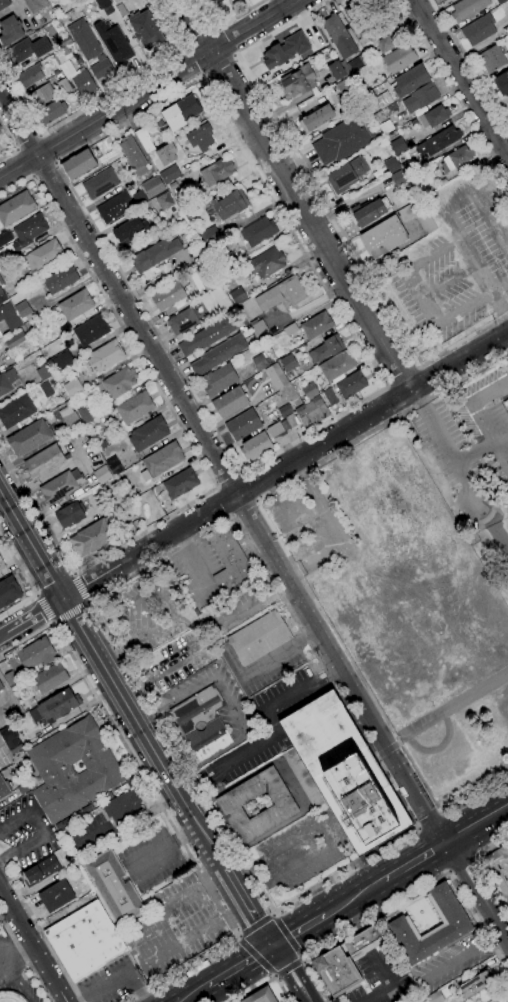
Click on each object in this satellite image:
building: (218, 1)
building: (499, 2)
building: (102, 3)
building: (4, 4)
building: (35, 5)
building: (467, 9)
building: (121, 10)
building: (388, 10)
road: (229, 20)
building: (360, 23)
road: (218, 27)
building: (10, 30)
building: (146, 30)
building: (478, 30)
building: (338, 36)
road: (200, 39)
building: (64, 41)
building: (114, 43)
road: (224, 43)
building: (385, 44)
building: (89, 48)
road: (183, 48)
building: (28, 50)
building: (65, 50)
building: (285, 50)
road: (234, 55)
building: (399, 58)
building: (492, 59)
road: (193, 60)
building: (358, 62)
road: (216, 64)
road: (469, 65)
building: (336, 70)
building: (30, 75)
road: (201, 77)
road: (462, 77)
building: (410, 80)
building: (297, 82)
building: (83, 83)
building: (502, 83)
building: (63, 86)
building: (343, 87)
road: (149, 90)
road: (453, 92)
building: (42, 95)
road: (102, 96)
building: (420, 98)
building: (383, 100)
building: (507, 104)
building: (392, 107)
building: (51, 112)
building: (180, 112)
building: (434, 116)
building: (316, 119)
building: (413, 123)
building: (0, 127)
building: (0, 133)
road: (38, 134)
building: (391, 135)
building: (200, 137)
building: (343, 139)
building: (144, 140)
building: (439, 140)
road: (26, 142)
road: (12, 143)
building: (398, 146)
road: (15, 149)
road: (46, 149)
building: (132, 155)
building: (456, 159)
road: (24, 162)
road: (55, 163)
building: (78, 164)
building: (391, 164)
building: (409, 167)
road: (43, 169)
building: (217, 172)
building: (170, 174)
building: (347, 175)
road: (32, 176)
building: (398, 179)
building: (100, 184)
building: (153, 186)
building: (409, 190)
building: (139, 198)
building: (163, 202)
road: (447, 202)
building: (229, 204)
building: (114, 207)
road: (327, 207)
building: (16, 208)
building: (369, 213)
building: (418, 215)
building: (130, 230)
building: (28, 231)
building: (258, 231)
building: (209, 237)
building: (383, 237)
building: (5, 238)
road: (327, 249)
building: (155, 254)
building: (43, 255)
building: (5, 259)
building: (227, 262)
road: (419, 262)
building: (266, 263)
building: (60, 279)
road: (447, 280)
building: (208, 282)
road: (497, 282)
building: (169, 294)
building: (271, 294)
building: (237, 295)
building: (2, 296)
building: (221, 299)
building: (76, 305)
road: (497, 307)
building: (24, 311)
building: (9, 316)
road: (449, 316)
building: (182, 321)
building: (316, 325)
building: (259, 328)
building: (290, 329)
building: (90, 330)
building: (0, 335)
building: (207, 336)
building: (15, 340)
building: (326, 349)
building: (218, 354)
building: (105, 356)
building: (507, 356)
building: (62, 360)
building: (260, 361)
building: (288, 363)
building: (336, 365)
road: (418, 367)
building: (44, 372)
building: (276, 376)
road: (401, 378)
building: (218, 379)
building: (6, 381)
building: (117, 383)
building: (351, 385)
building: (72, 387)
road: (383, 387)
road: (380, 388)
building: (46, 389)
building: (309, 391)
building: (330, 396)
building: (230, 402)
road: (471, 402)
building: (134, 408)
building: (285, 410)
building: (16, 411)
building: (312, 412)
building: (84, 414)
building: (70, 419)
building: (291, 420)
building: (243, 424)
building: (276, 431)
building: (148, 433)
parking lot: (470, 434)
building: (29, 438)
building: (101, 445)
building: (255, 445)
road: (192, 447)
road: (500, 447)
road: (313, 449)
road: (473, 451)
building: (161, 461)
building: (44, 462)
building: (114, 466)
road: (221, 468)
road: (240, 473)
building: (102, 475)
road: (228, 481)
building: (181, 483)
building: (61, 486)
road: (442, 486)
road: (215, 487)
road: (246, 488)
road: (224, 501)
road: (255, 501)
road: (242, 507)
road: (499, 513)
building: (70, 514)
road: (232, 515)
road: (303, 522)
road: (332, 528)
road: (497, 532)
building: (92, 537)
road: (189, 556)
building: (229, 561)
building: (2, 564)
road: (292, 566)
building: (0, 571)
road: (73, 572)
road: (90, 581)
road: (26, 582)
road: (79, 587)
building: (8, 591)
road: (34, 595)
road: (87, 601)
road: (43, 609)
road: (68, 611)
road: (33, 615)
road: (51, 624)
road: (2, 634)
building: (259, 638)
building: (36, 654)
road: (270, 658)
building: (10, 678)
building: (50, 678)
road: (111, 680)
building: (1, 686)
road: (228, 703)
road: (451, 704)
building: (56, 706)
building: (197, 710)
road: (279, 735)
building: (10, 739)
building: (208, 740)
road: (396, 743)
road: (437, 747)
road: (385, 749)
road: (376, 756)
building: (6, 759)
building: (73, 769)
building: (345, 773)
building: (303, 778)
building: (4, 788)
building: (230, 805)
building: (122, 807)
road: (163, 809)
road: (426, 819)
road: (477, 823)
road: (129, 824)
road: (414, 826)
road: (322, 836)
parking lot: (302, 850)
building: (504, 852)
parking lot: (151, 858)
road: (414, 860)
road: (483, 868)
building: (40, 870)
building: (498, 871)
building: (114, 887)
railway: (360, 890)
road: (478, 890)
building: (56, 896)
road: (353, 897)
road: (404, 897)
railway: (363, 898)
building: (192, 906)
road: (247, 907)
road: (275, 914)
road: (17, 918)
building: (456, 924)
road: (255, 925)
parking lot: (173, 927)
building: (205, 929)
road: (298, 931)
road: (41, 932)
road: (237, 935)
road: (286, 937)
building: (84, 940)
traffic signals: (273, 946)
road: (132, 950)
road: (24, 953)
road: (254, 954)
road: (464, 954)
road: (25, 958)
road: (302, 959)
road: (17, 961)
building: (343, 961)
road: (240, 966)
road: (289, 967)
road: (292, 973)
road: (50, 974)
road: (273, 975)
road: (276, 976)
parking lot: (382, 976)
road: (115, 977)
road: (266, 981)
parking lot: (110, 982)
road: (391, 984)
building: (475, 984)
road: (19, 988)
railway: (193, 990)
railway: (203, 993)
road: (193, 994)
building: (11, 996)
building: (261, 996)
building: (434, 997)

